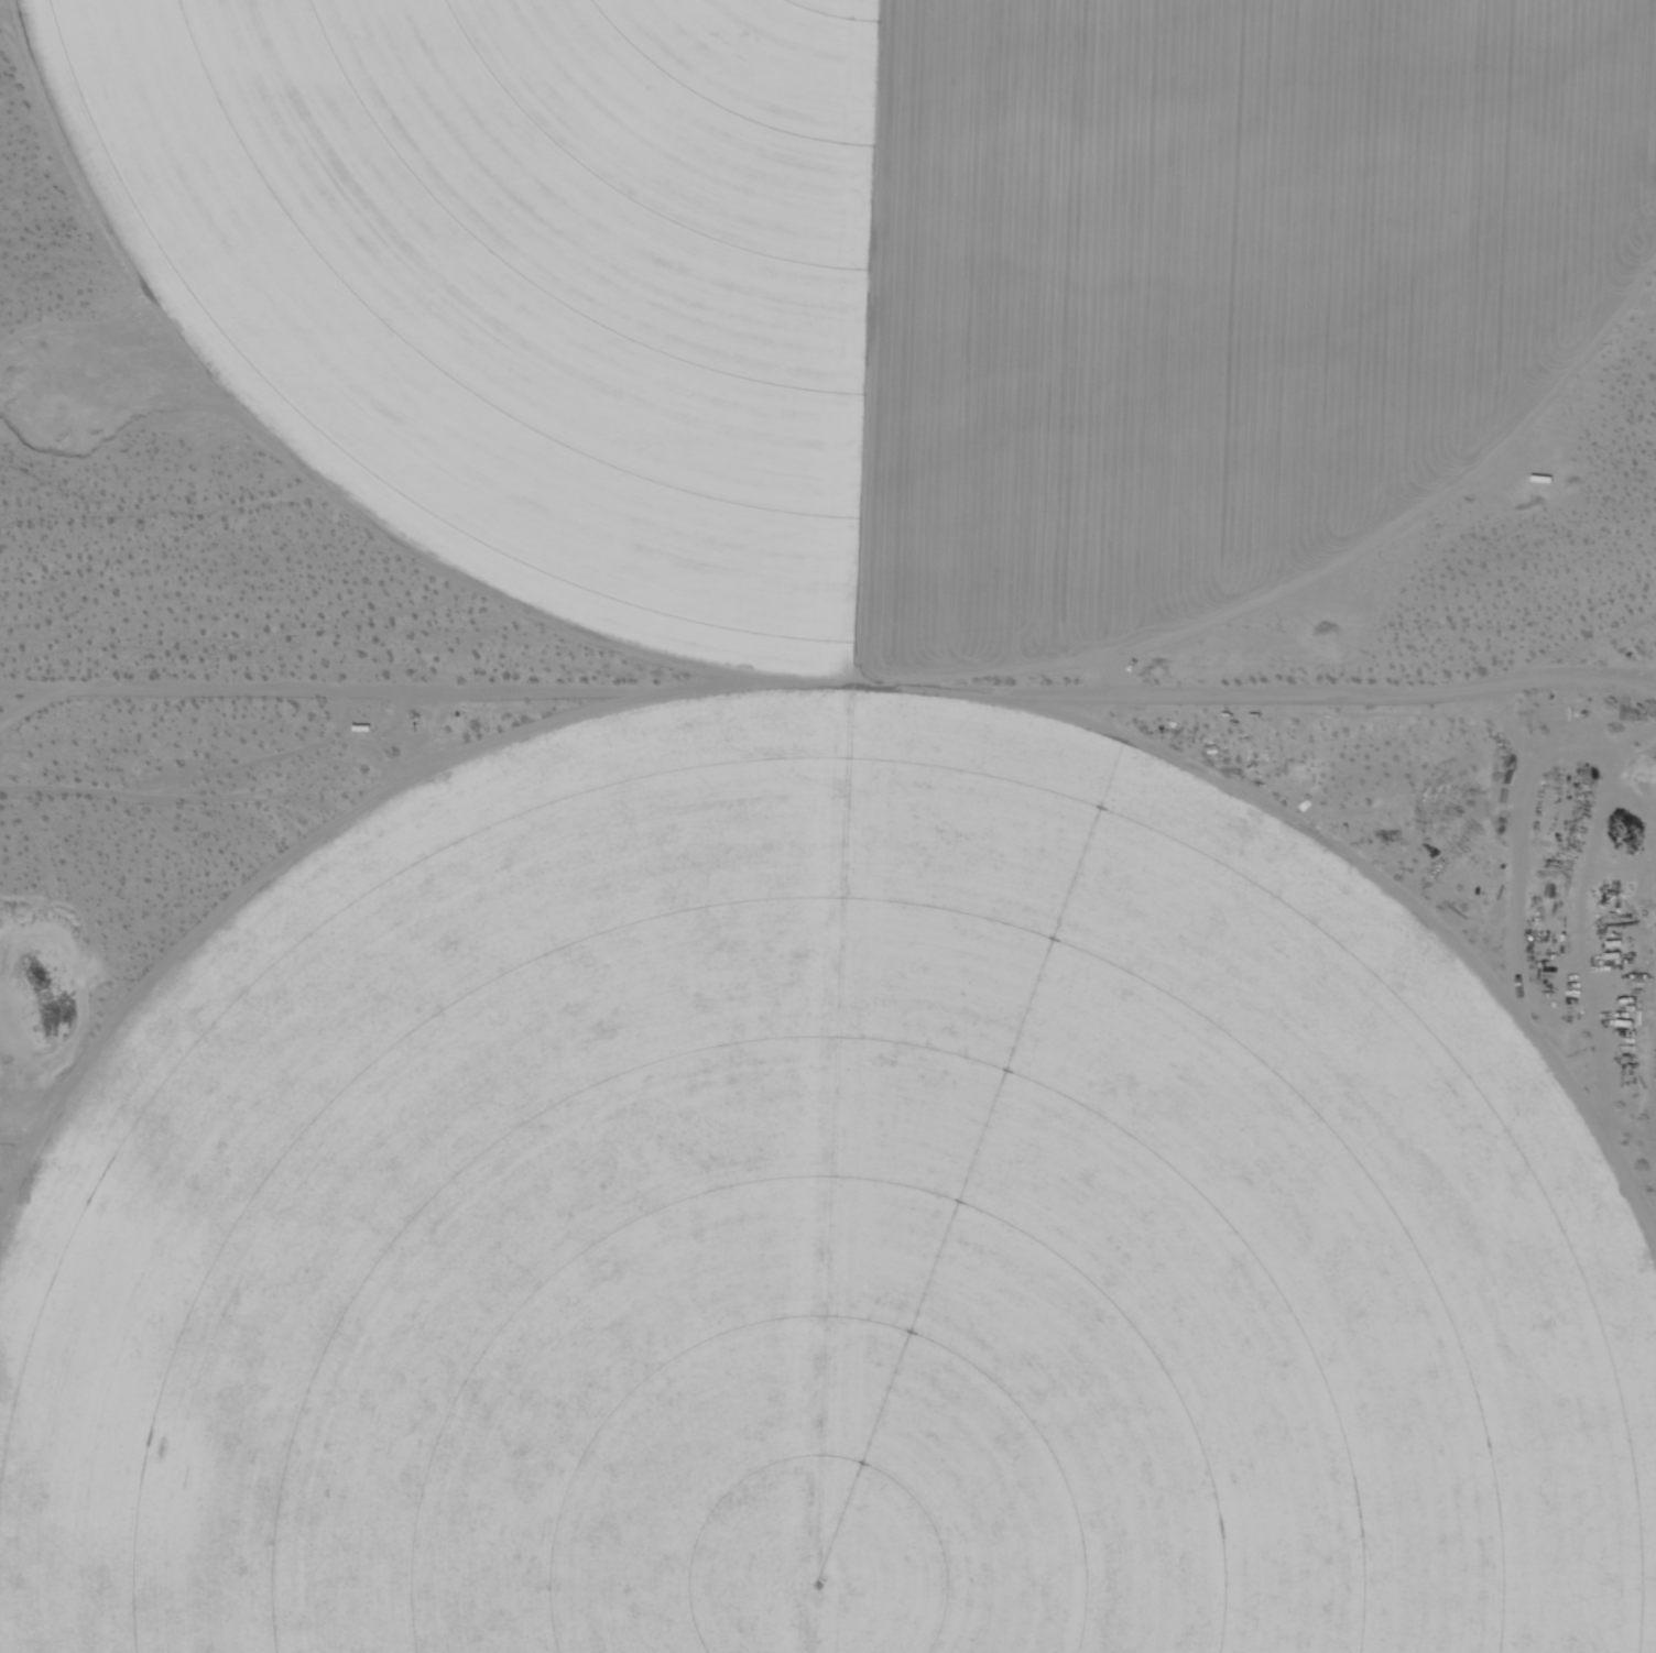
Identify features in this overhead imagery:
crop: (845, 263)
road: (828, 677)
crop: (817, 1285)

